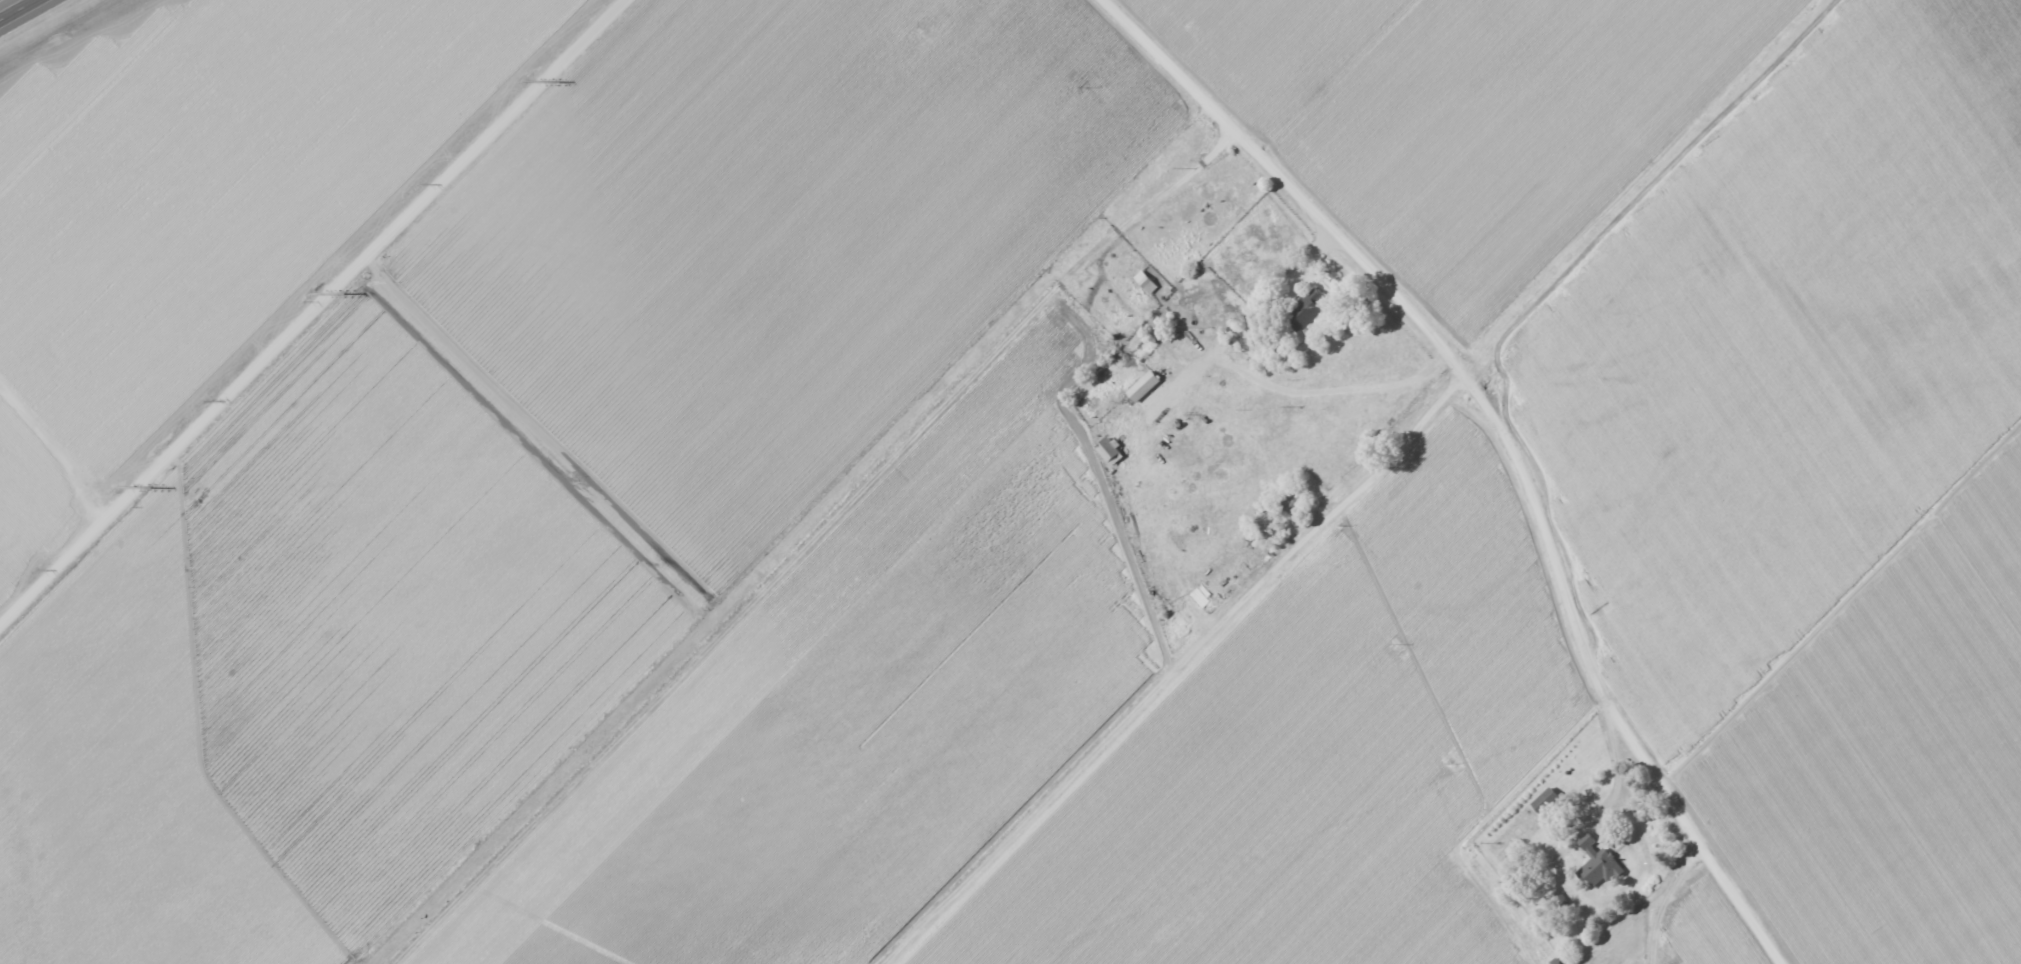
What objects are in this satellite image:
road: (5, 3)
road: (311, 312)
building: (1143, 386)
road: (1507, 439)
building: (1545, 801)
building: (1600, 868)

